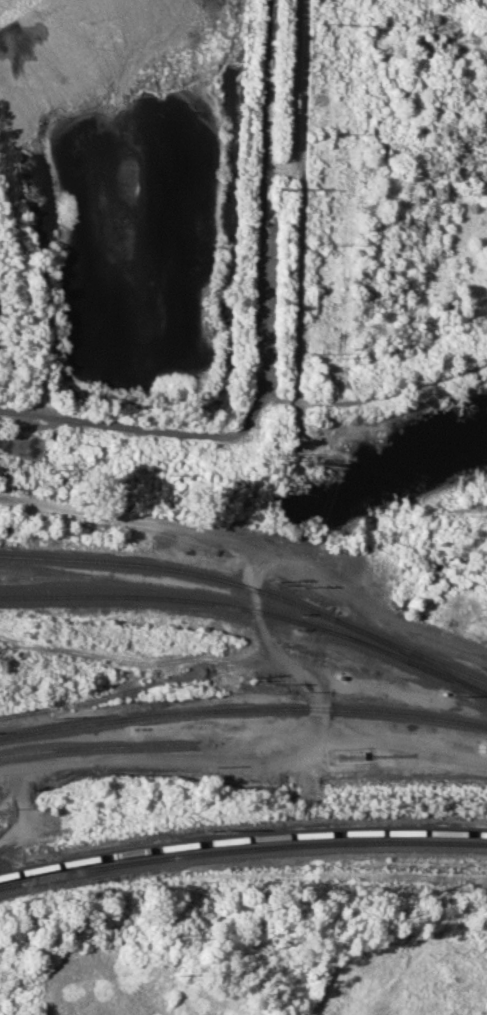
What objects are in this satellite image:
power tower: (280, 187)
road: (261, 341)
road: (375, 396)
power tower: (270, 451)
road: (484, 508)
road: (166, 528)
road: (408, 528)
railway: (171, 569)
railway: (250, 609)
railway: (412, 650)
railway: (411, 656)
railway: (97, 699)
railway: (243, 708)
railway: (103, 746)
railway: (242, 838)
railway: (242, 849)

